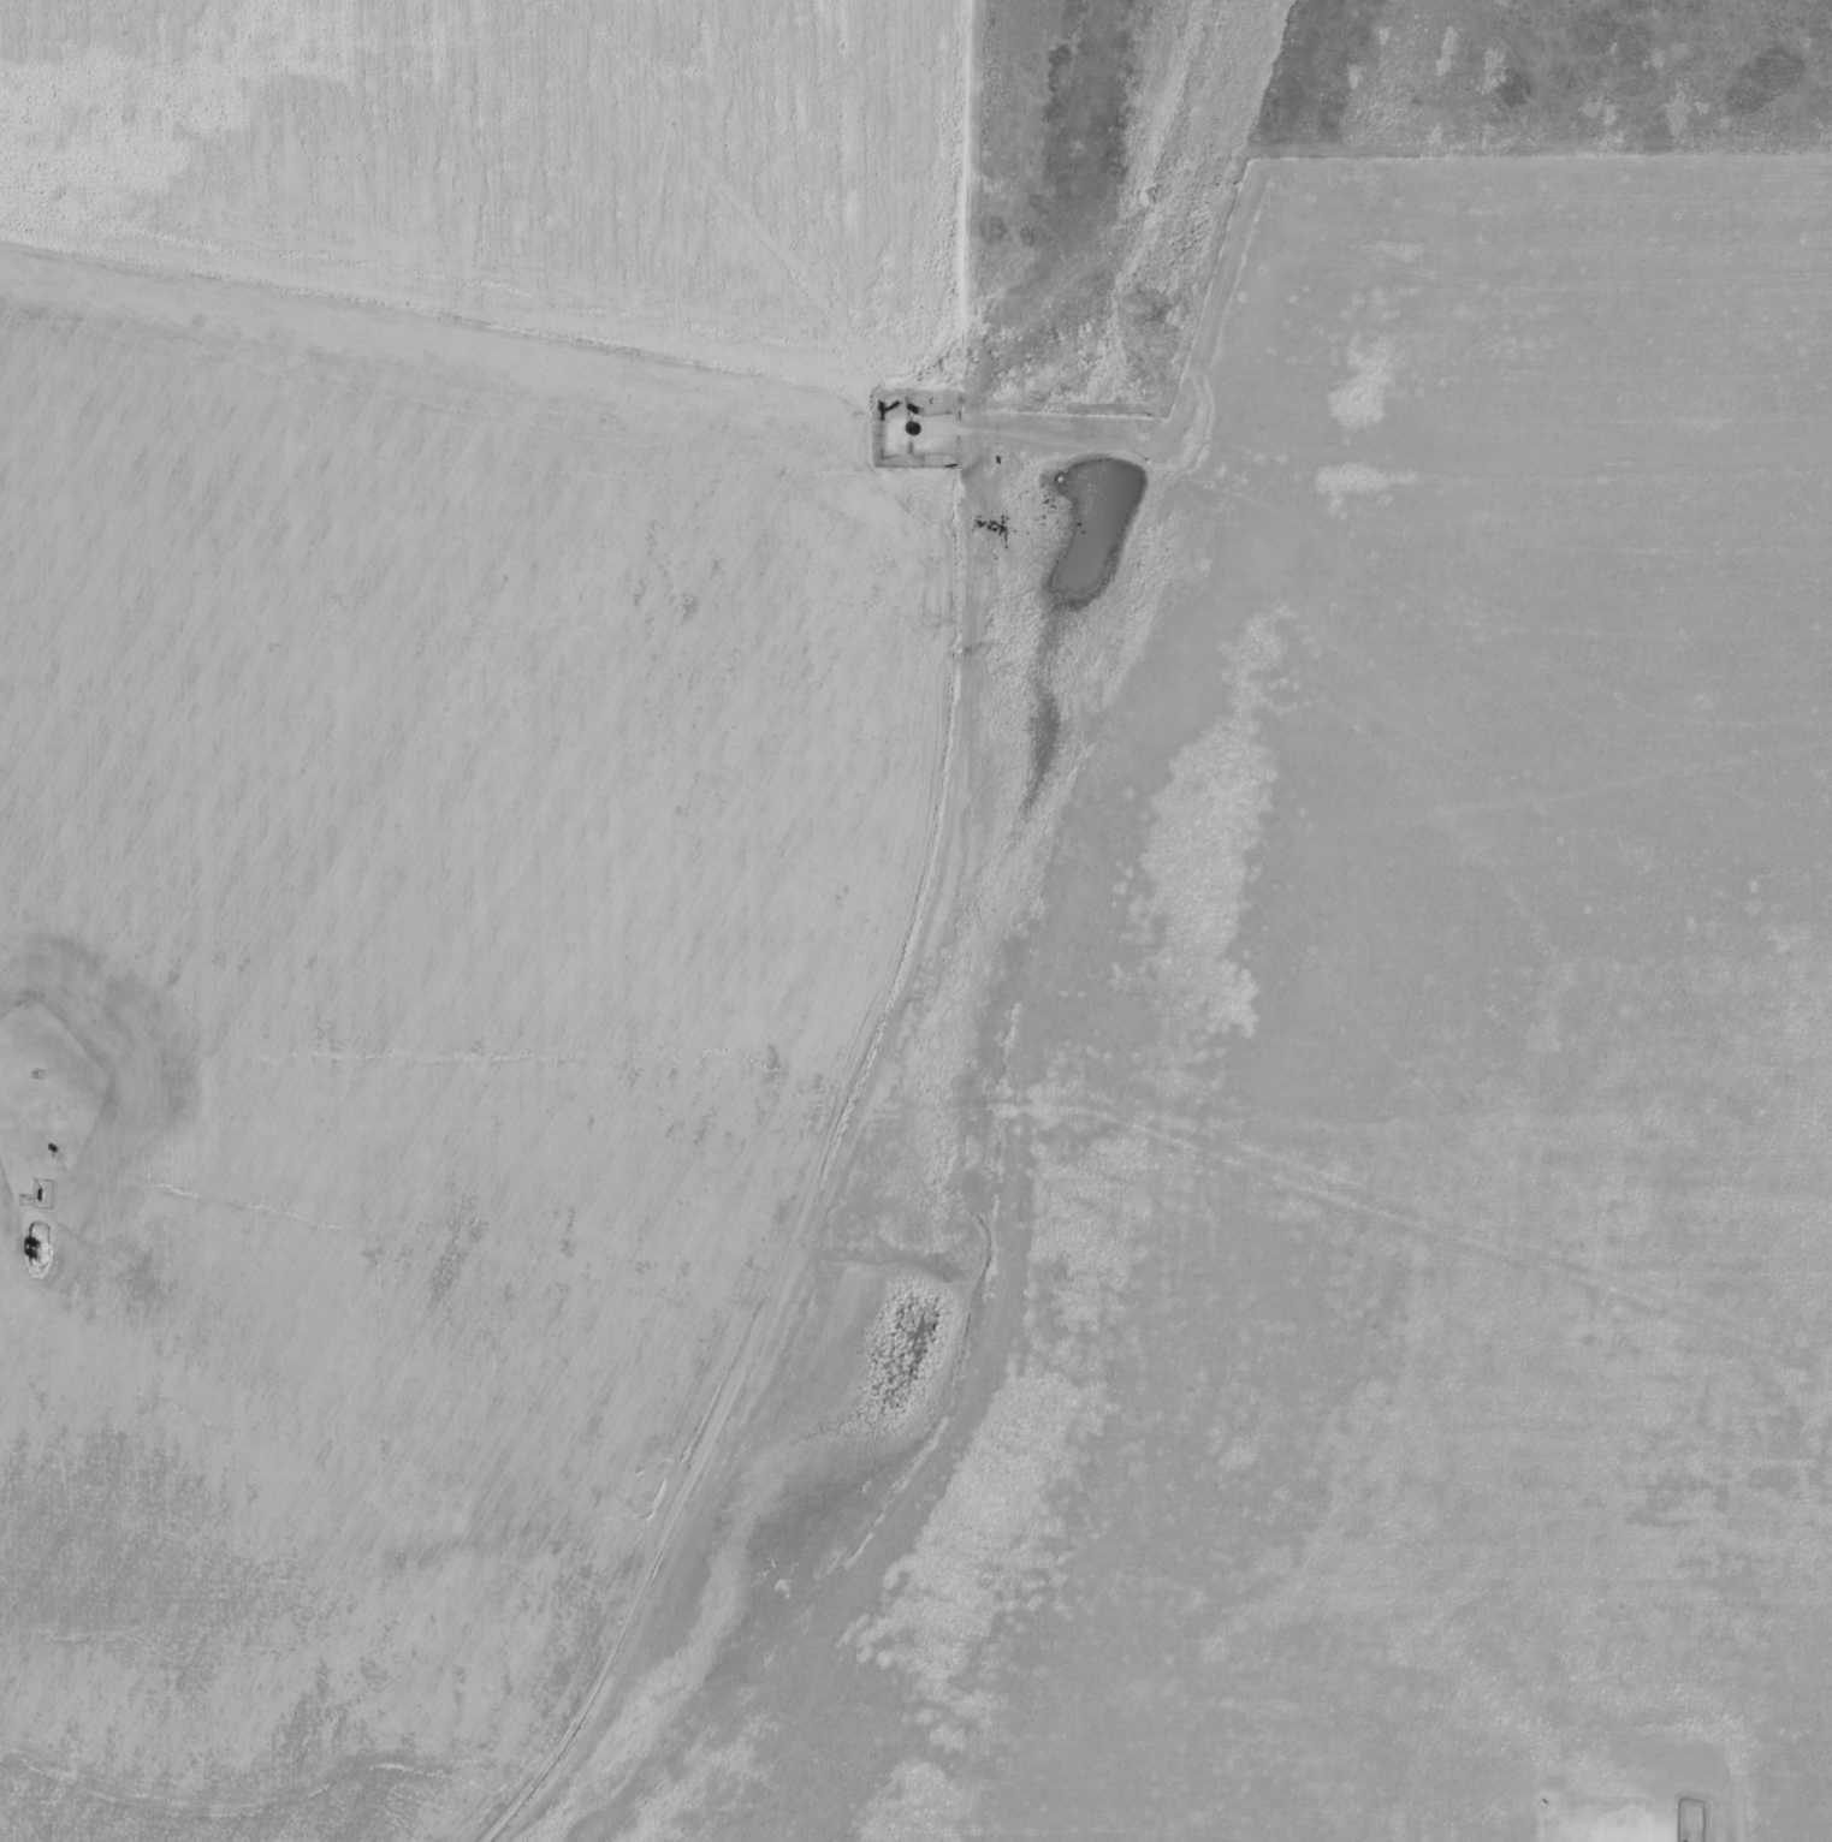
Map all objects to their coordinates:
road: (1632, 1835)

